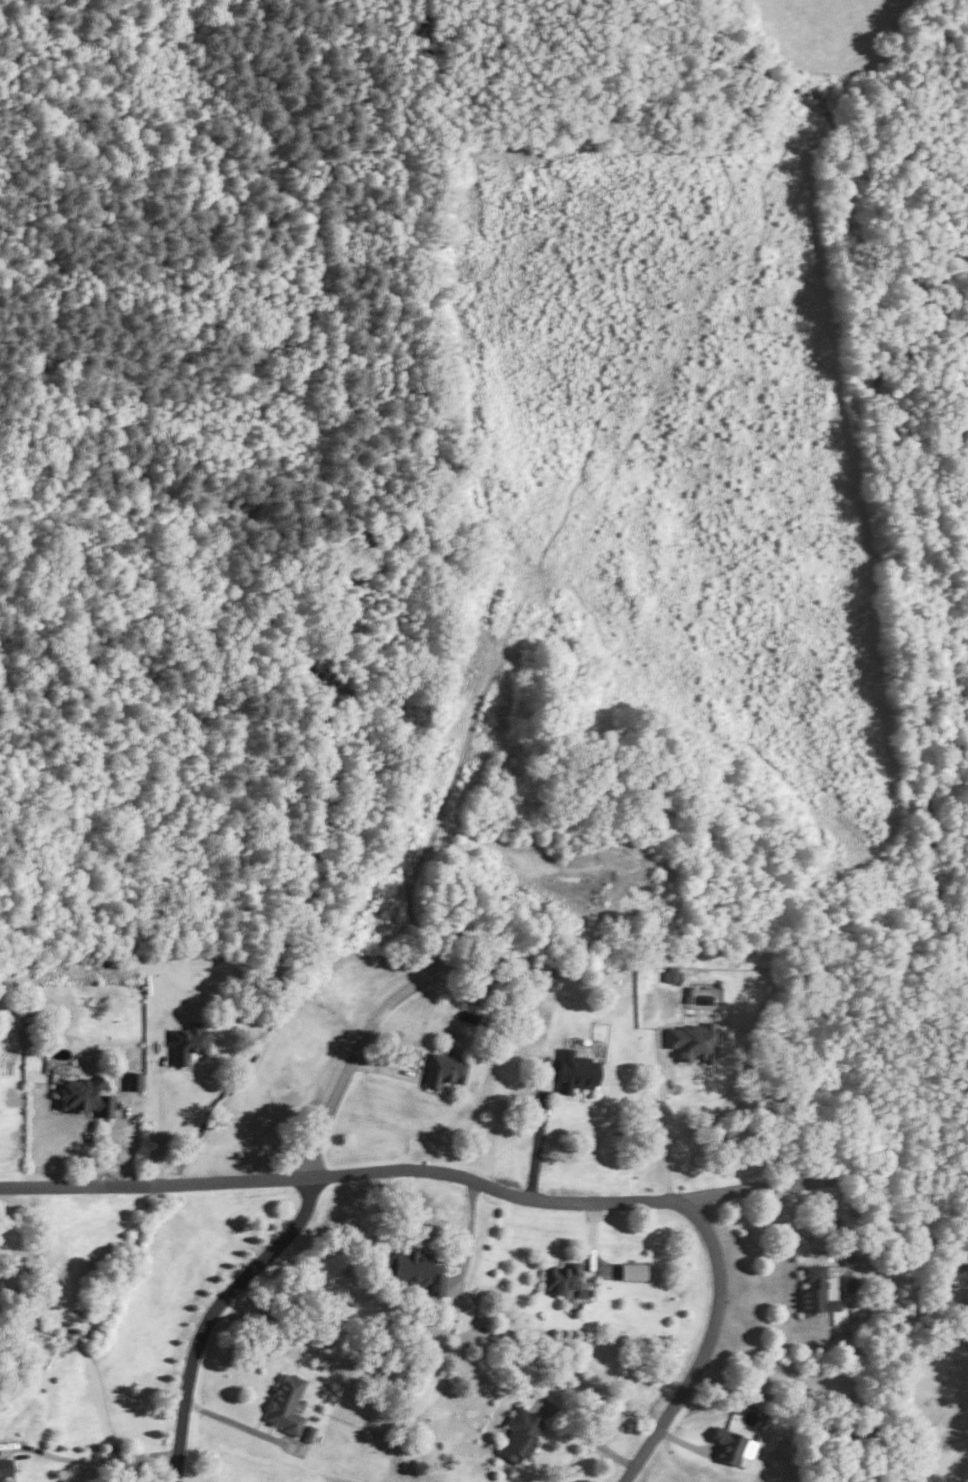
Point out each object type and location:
building: (671, 975)
building: (692, 1041)
building: (187, 1042)
road: (347, 1066)
building: (445, 1069)
building: (576, 1072)
building: (133, 1080)
building: (83, 1096)
road: (161, 1123)
road: (665, 1135)
road: (540, 1143)
road: (446, 1179)
building: (849, 1259)
building: (420, 1270)
building: (633, 1271)
building: (565, 1278)
building: (819, 1289)
road: (206, 1316)
road: (700, 1350)
building: (286, 1403)
road: (229, 1420)
building: (310, 1432)
building: (520, 1434)
building: (733, 1446)
road: (89, 1459)
building: (5, 1467)

